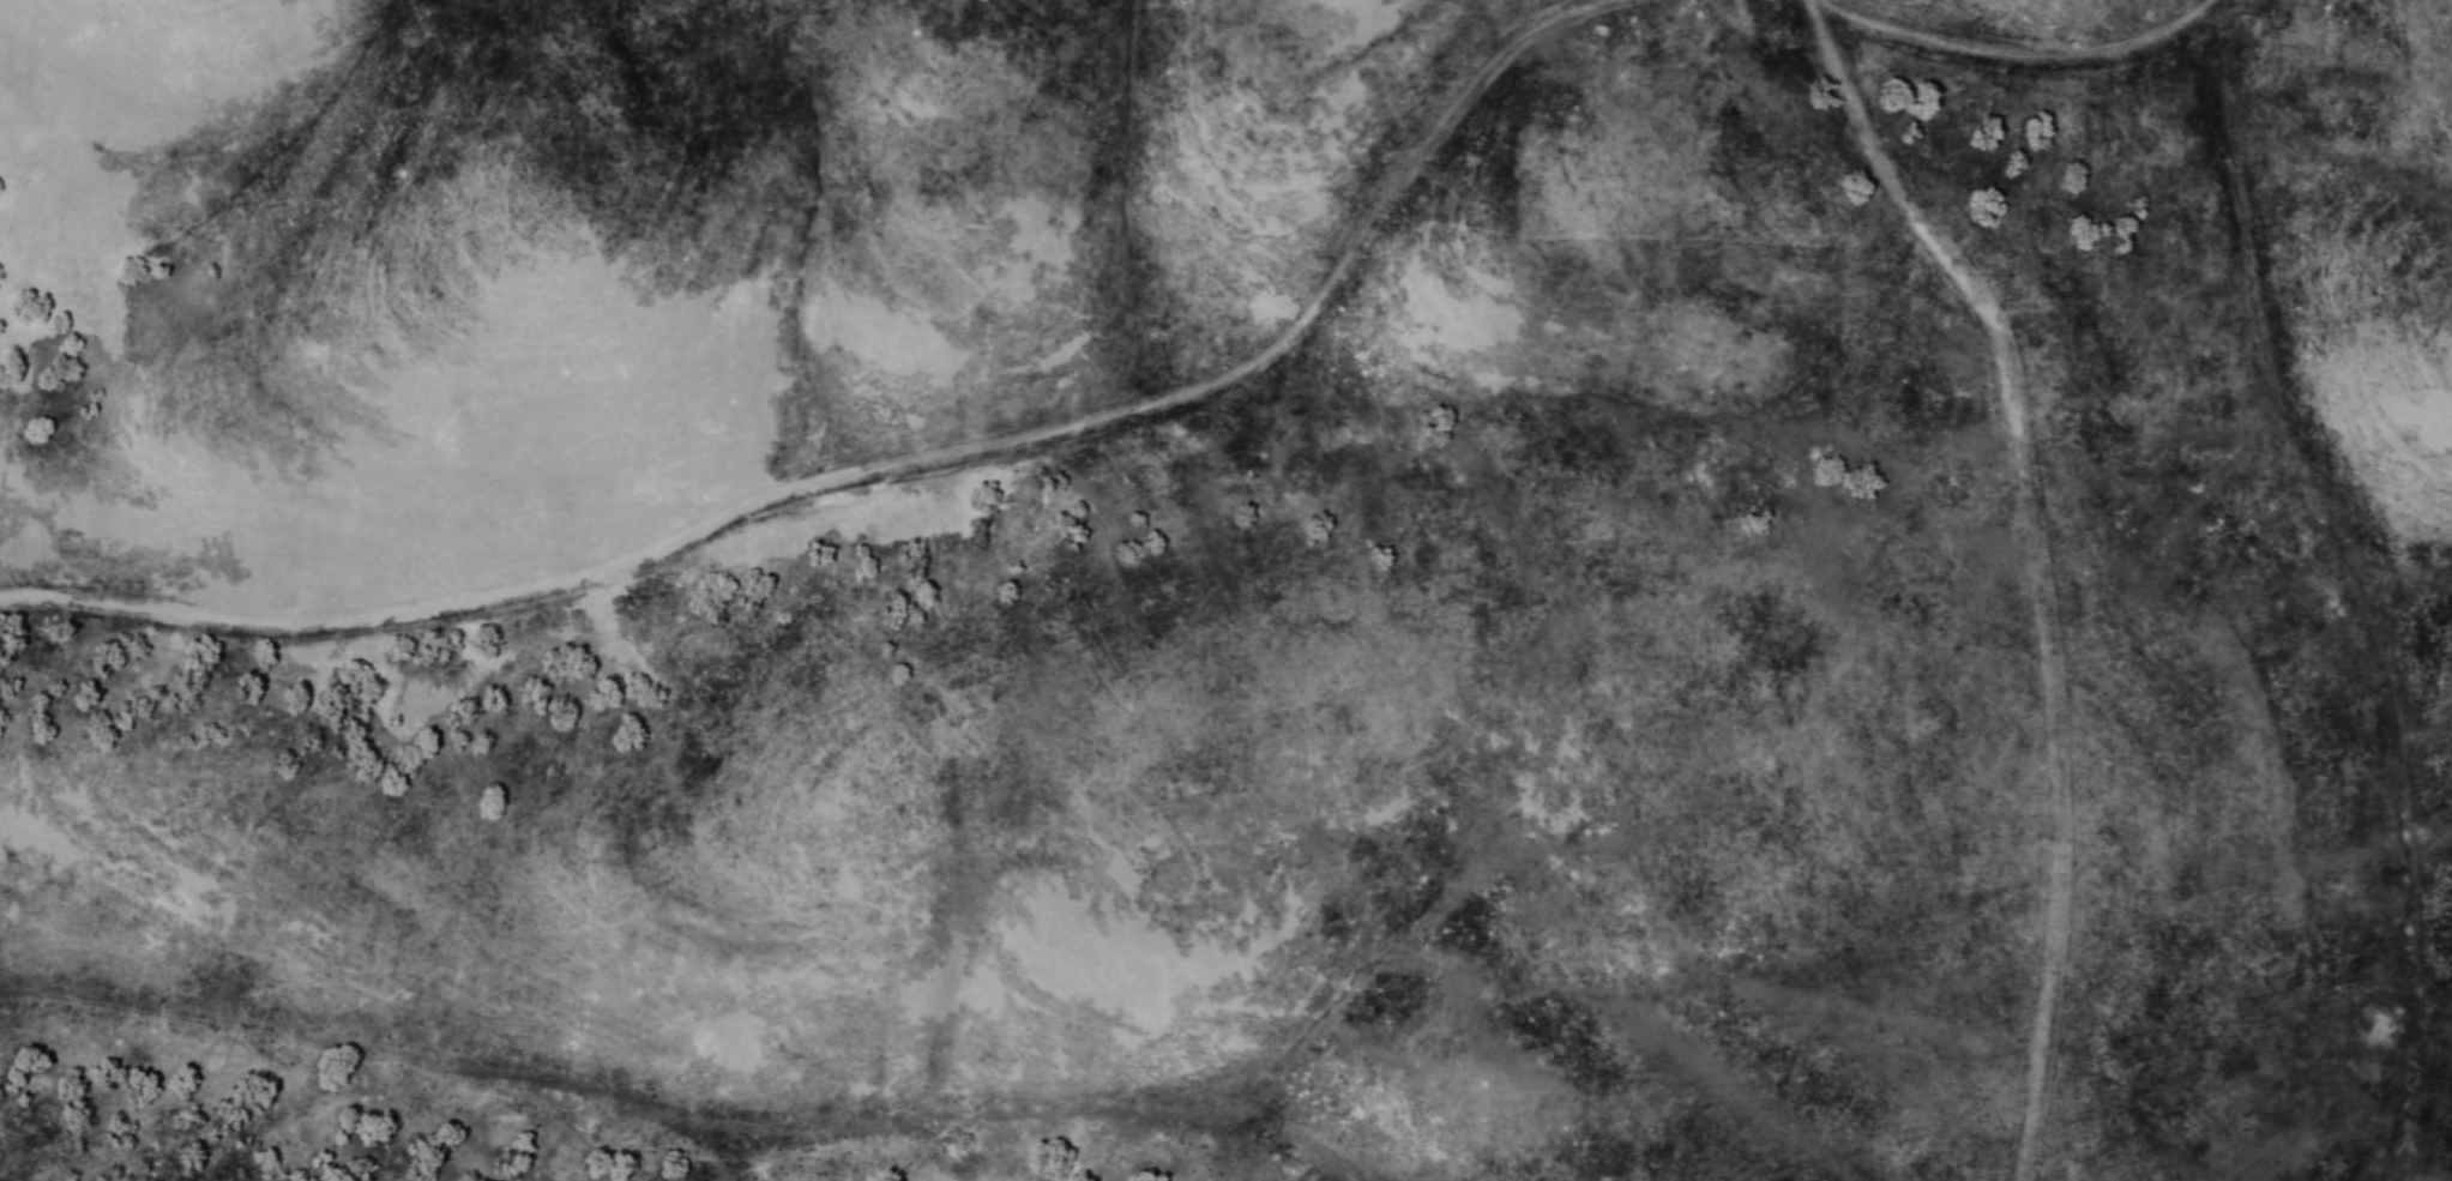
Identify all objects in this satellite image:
road: (2215, 8)
road: (2062, 55)
road: (870, 466)
road: (2025, 566)

